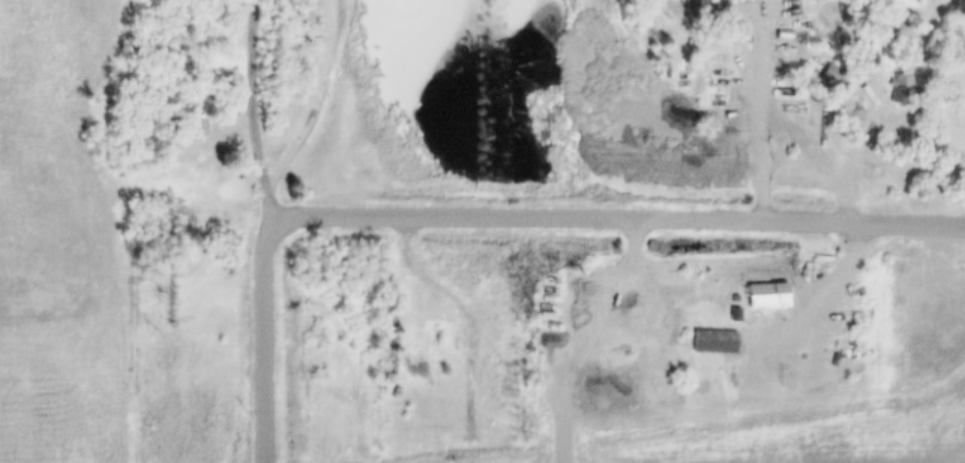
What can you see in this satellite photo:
building: (702, 8)
building: (778, 33)
building: (825, 76)
building: (837, 78)
building: (893, 88)
building: (902, 90)
road: (310, 99)
road: (768, 108)
road: (244, 111)
road: (616, 218)
building: (759, 293)
building: (833, 332)
road: (576, 334)
building: (707, 340)
road: (270, 341)

